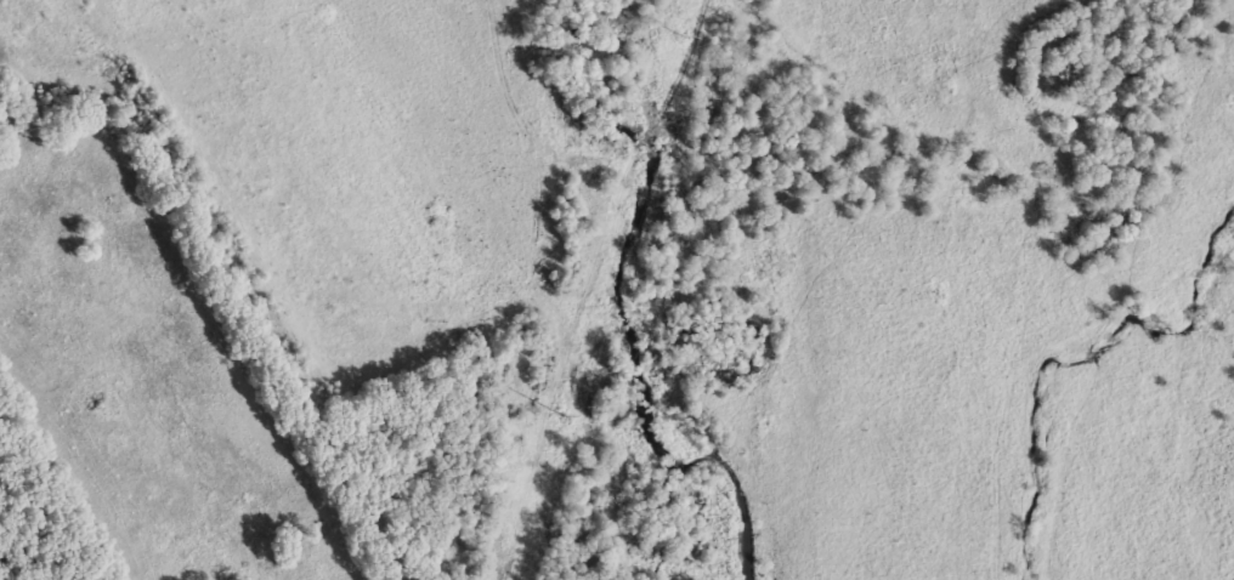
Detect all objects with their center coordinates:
power tower: (683, 35)
power tower: (561, 415)

